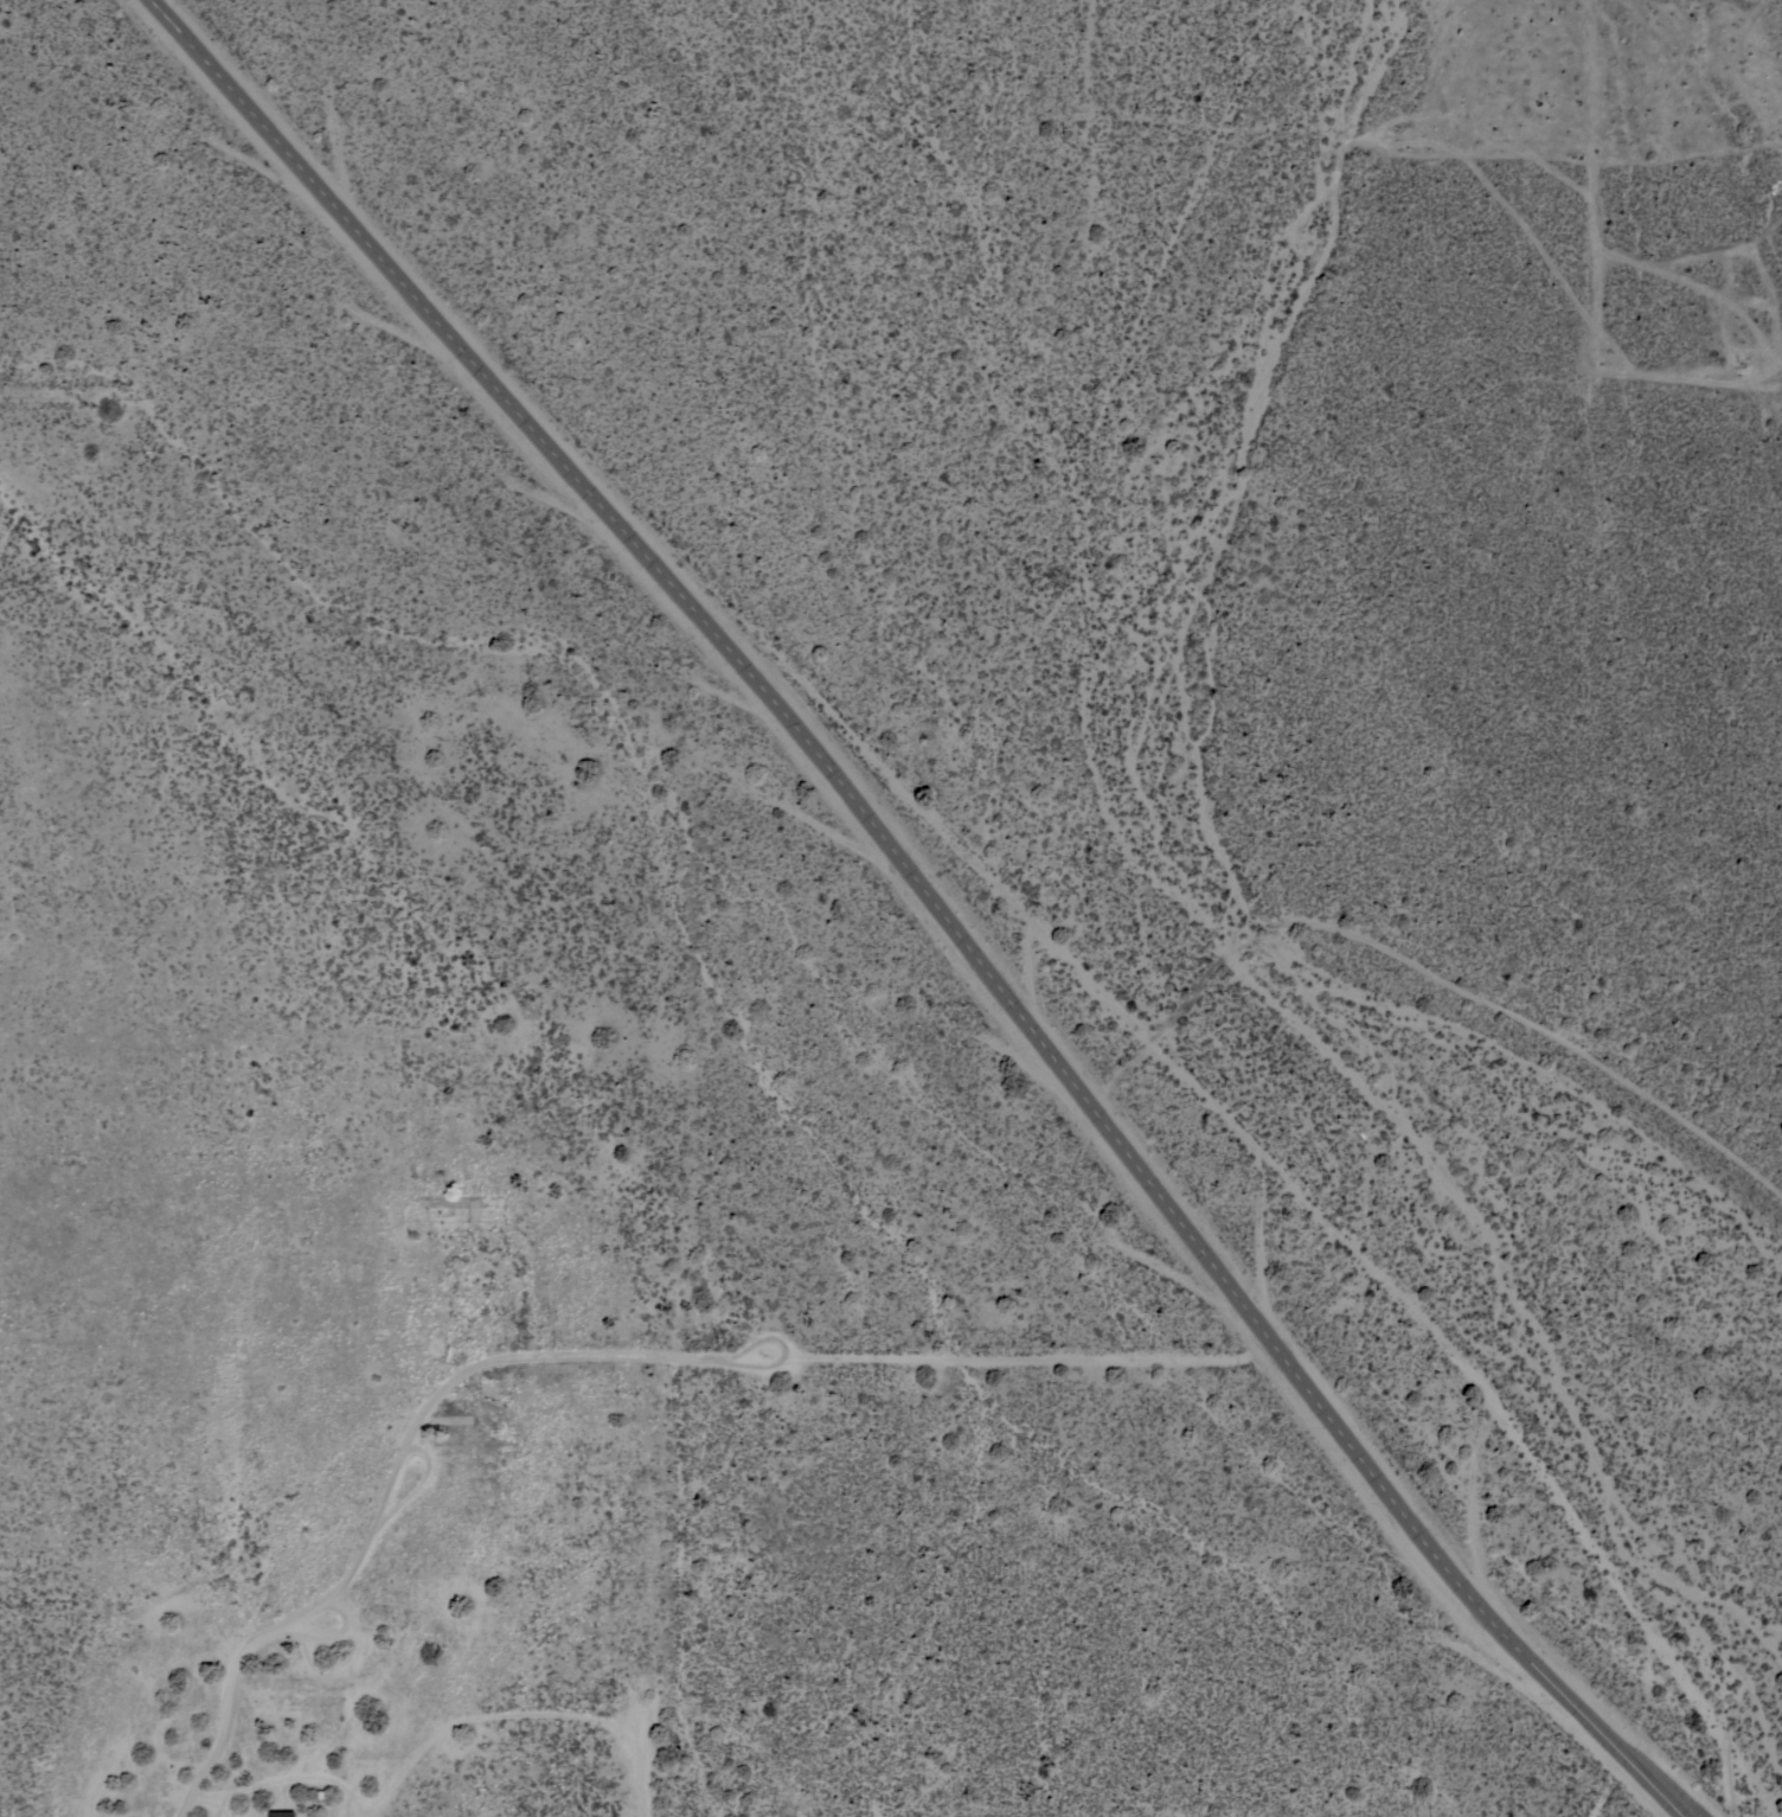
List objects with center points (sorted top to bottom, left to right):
road: (929, 900)
road: (596, 1356)
building: (282, 1813)

